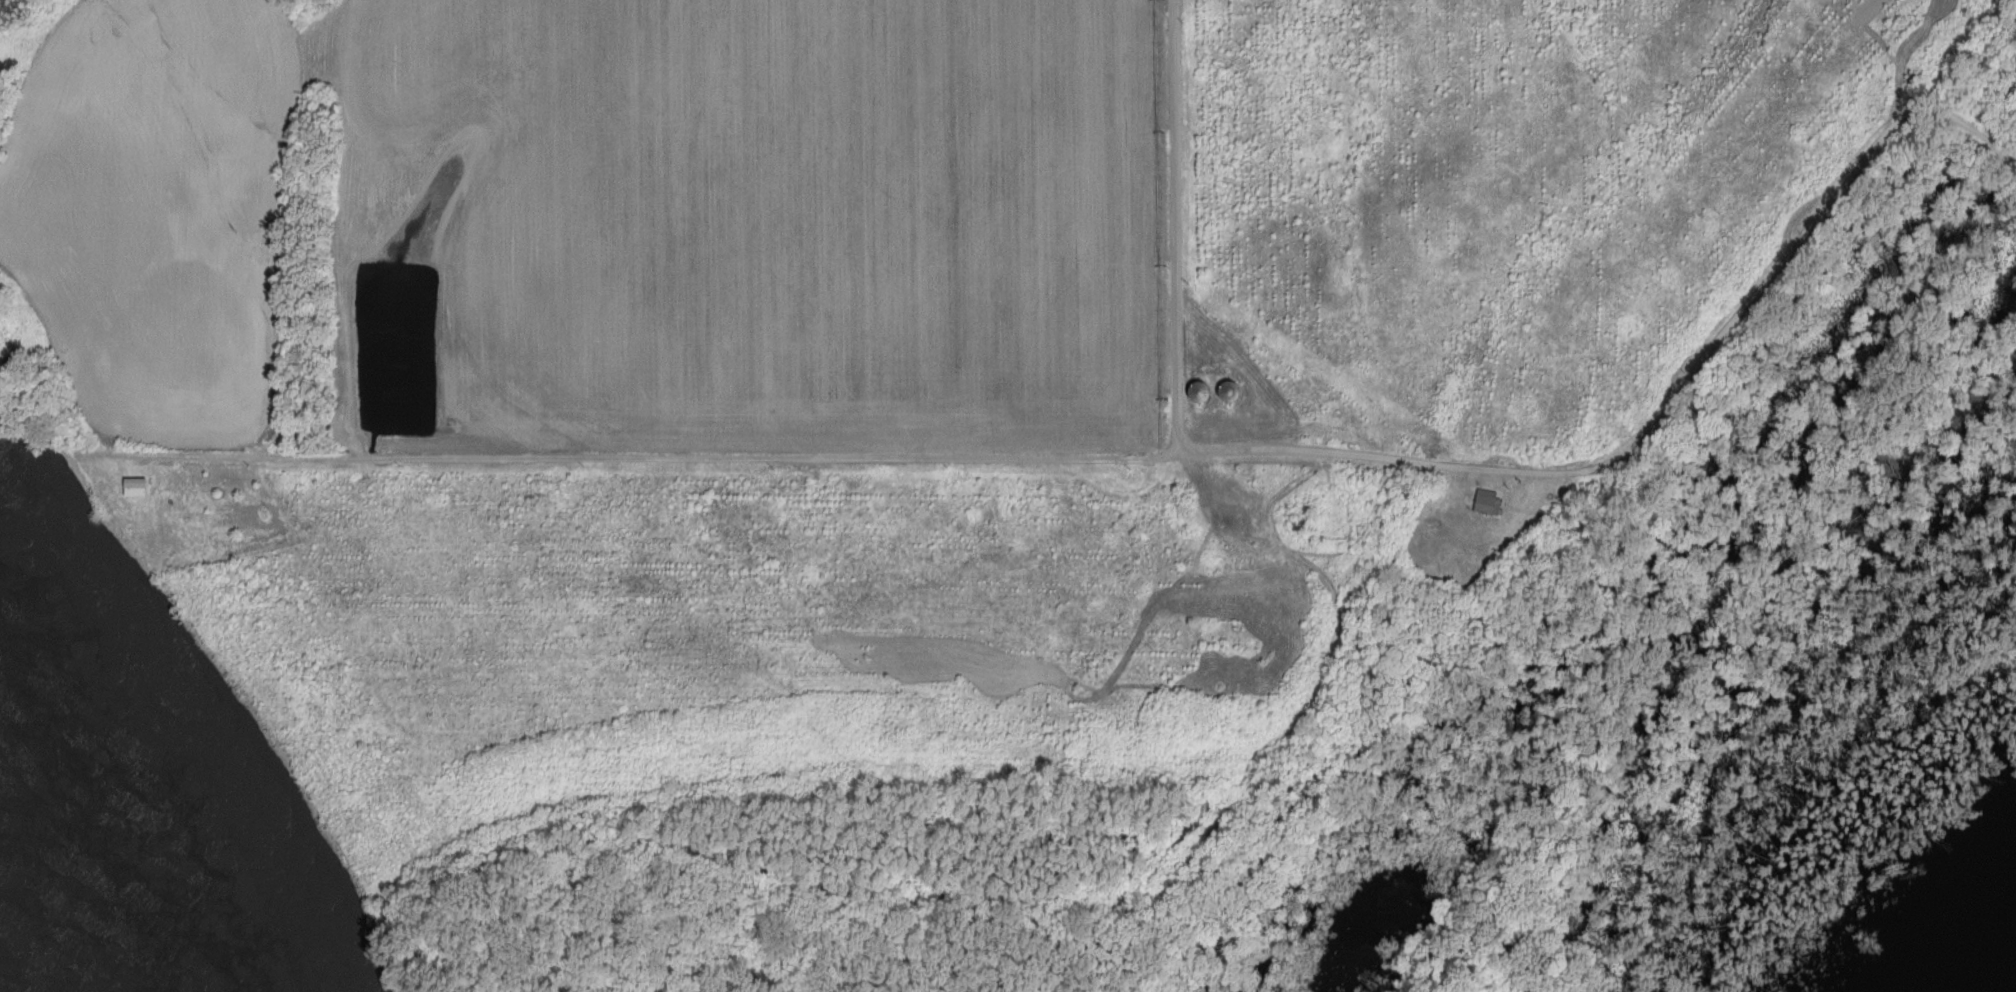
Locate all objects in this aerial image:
road: (1173, 223)
road: (337, 229)
building: (1199, 392)
building: (1229, 393)
road: (1142, 459)
building: (135, 487)
building: (1489, 502)
building: (1300, 524)
building: (225, 554)
river: (31, 944)

